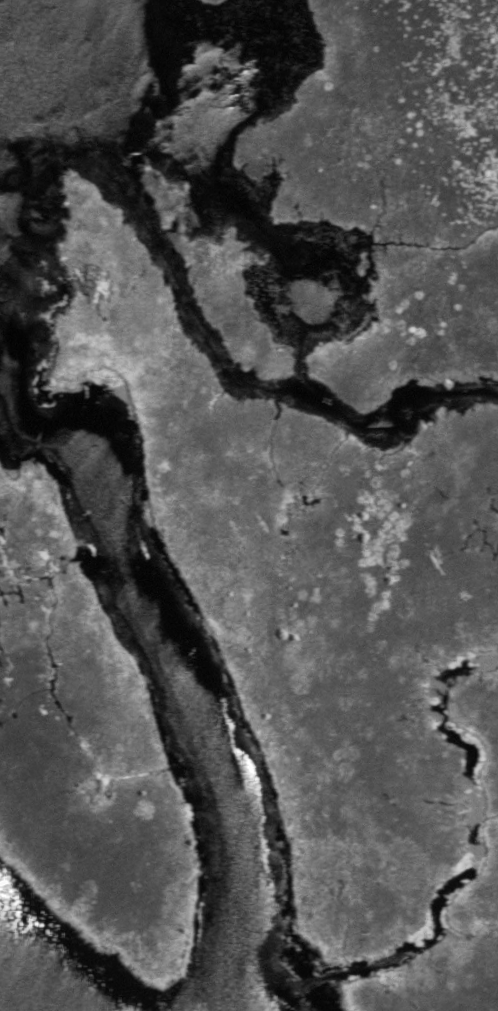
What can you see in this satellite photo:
river: (5, 1005)

